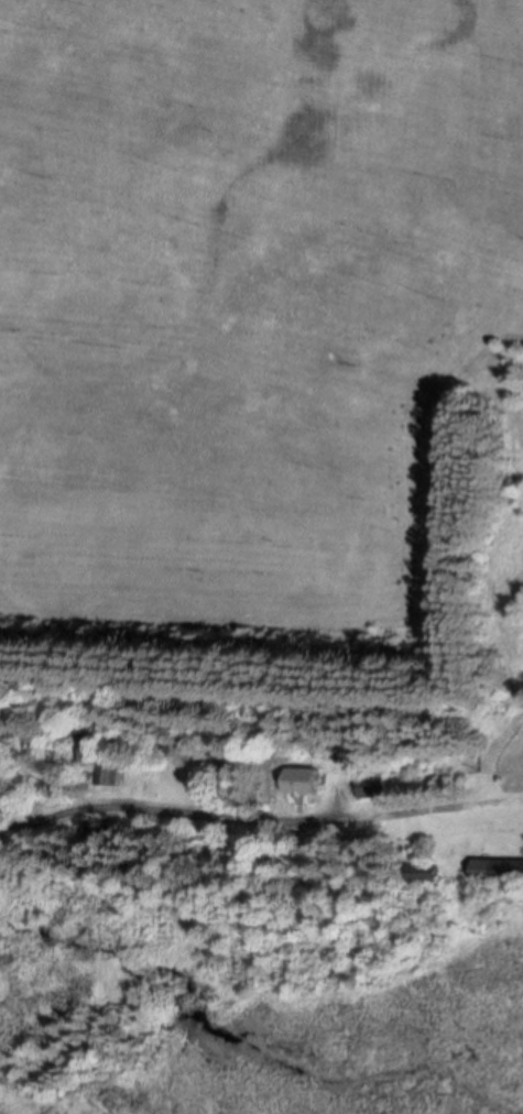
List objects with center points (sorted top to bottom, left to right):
building: (107, 774)
building: (304, 785)
building: (371, 789)
road: (176, 808)
building: (498, 873)
building: (420, 875)

